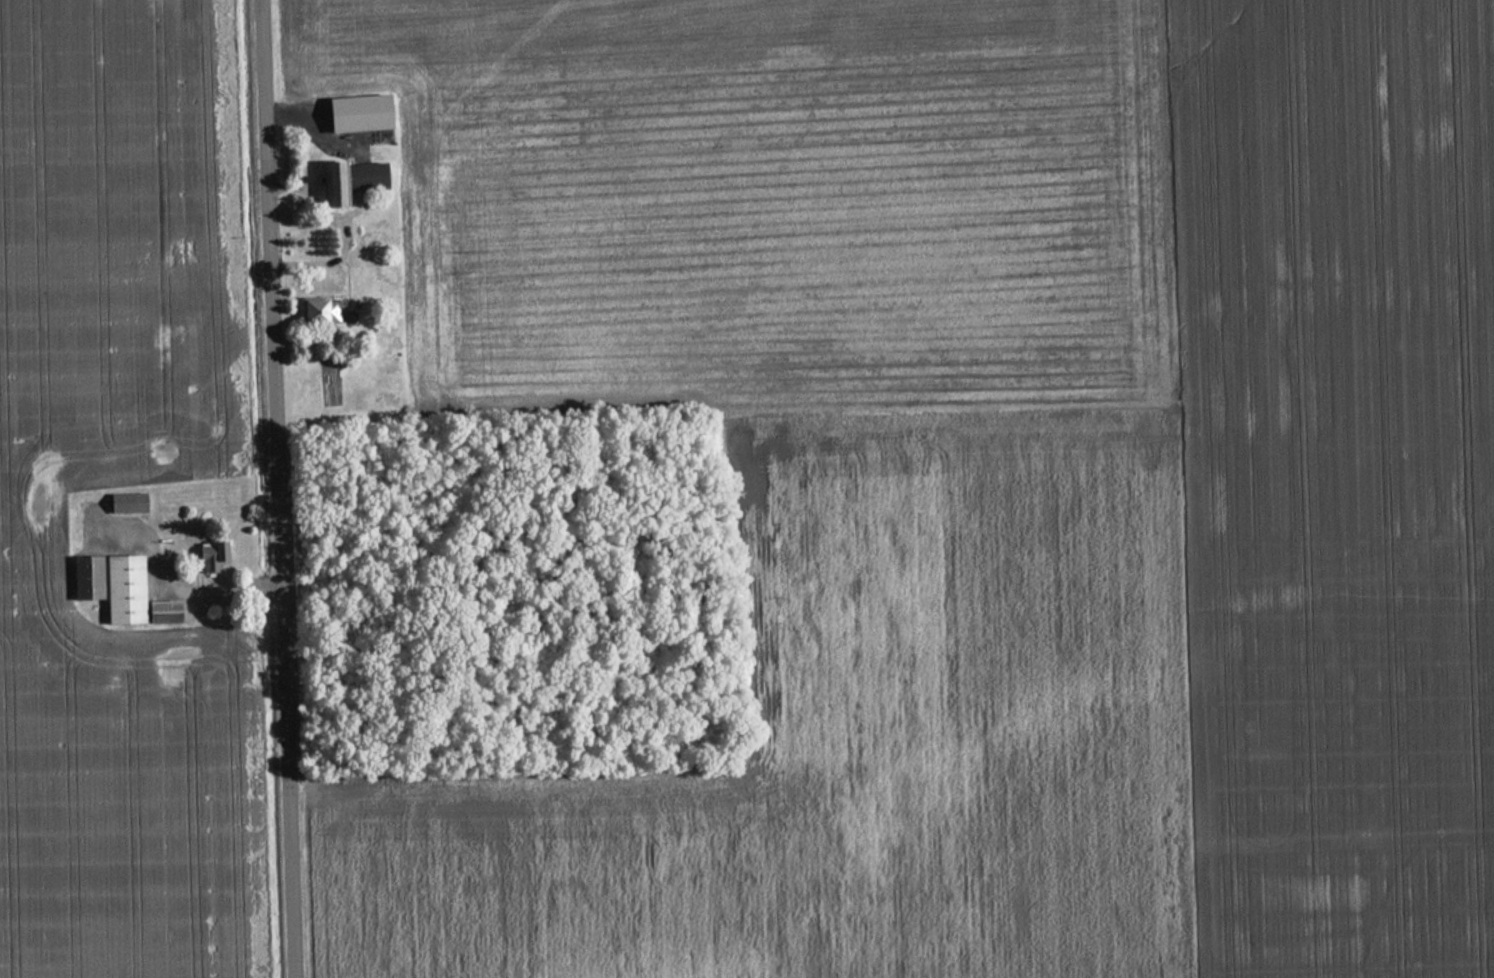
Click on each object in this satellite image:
building: (354, 113)
building: (347, 180)
building: (321, 313)
crop: (979, 476)
road: (275, 489)
building: (123, 503)
crop: (30, 537)
building: (207, 555)
building: (115, 590)

